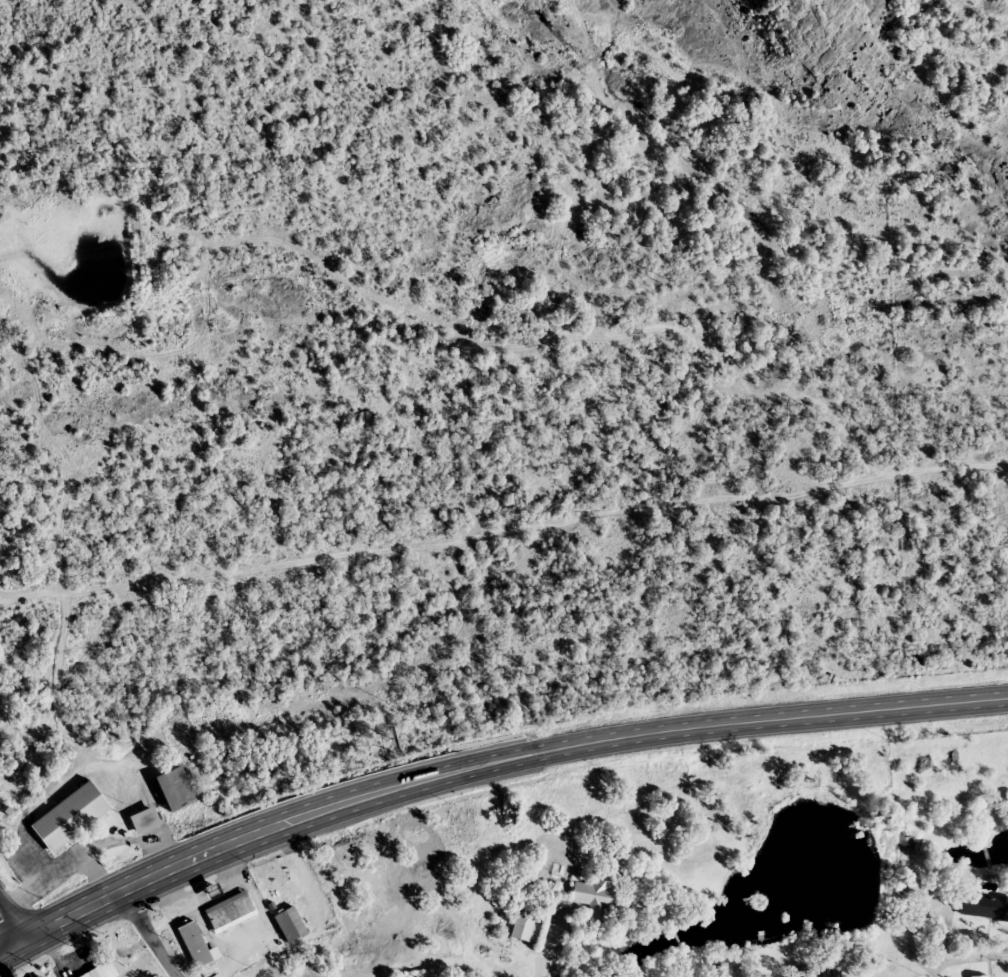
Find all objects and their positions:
power tower: (329, 205)
power tower: (661, 278)
power tower: (1003, 353)
road: (488, 759)
building: (176, 789)
building: (71, 816)
building: (145, 820)
road: (86, 853)
building: (598, 895)
building: (984, 906)
building: (230, 912)
building: (291, 924)
road: (6, 929)
building: (526, 929)
building: (197, 945)
road: (116, 946)
road: (48, 956)
road: (964, 956)
road: (543, 966)
building: (102, 971)
road: (1, 973)

